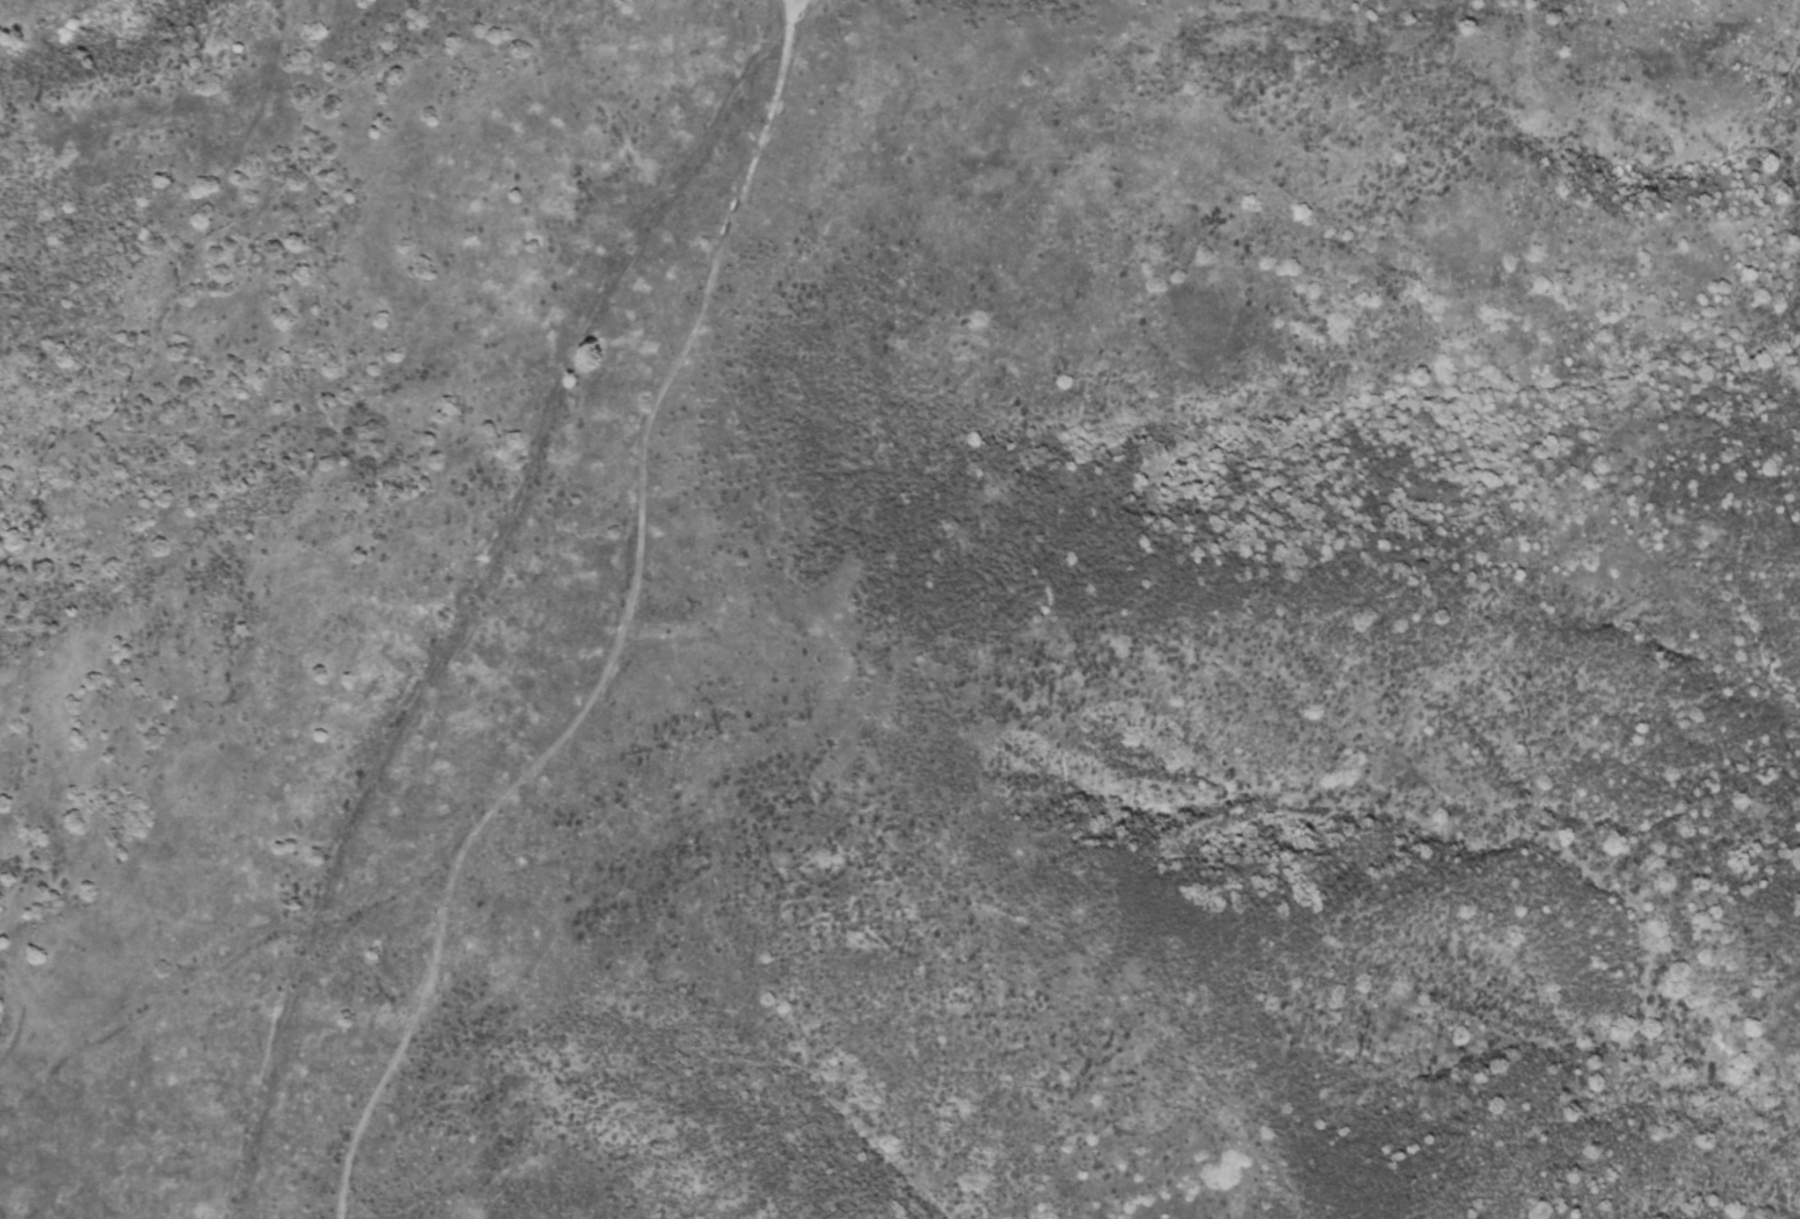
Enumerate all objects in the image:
road: (475, 590)
road: (612, 641)

